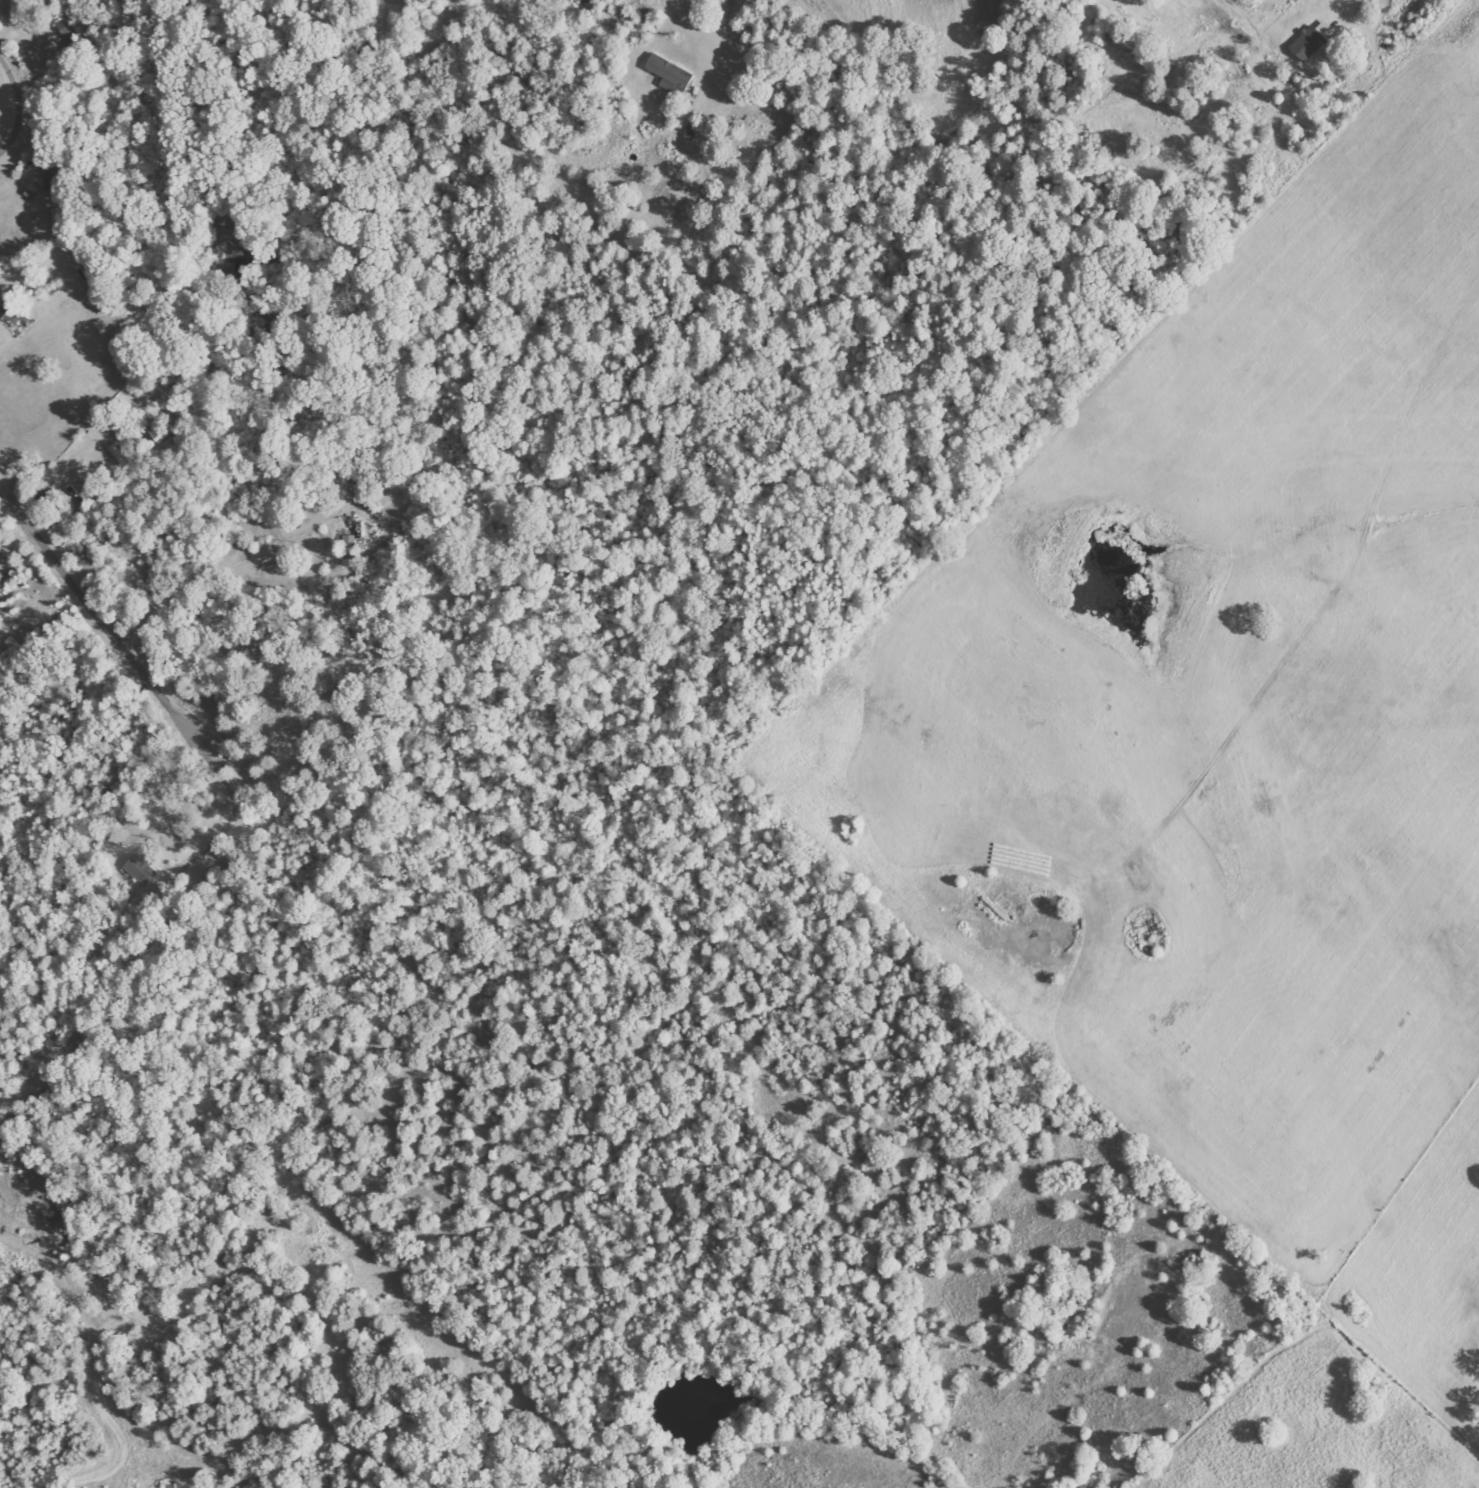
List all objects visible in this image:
building: (67, 30)
building: (1309, 40)
road: (729, 60)
road: (1, 64)
building: (671, 74)
road: (16, 110)
road: (560, 136)
building: (60, 181)
building: (58, 220)
road: (694, 257)
building: (12, 311)
building: (158, 429)
building: (351, 551)
road: (96, 626)
building: (142, 870)

